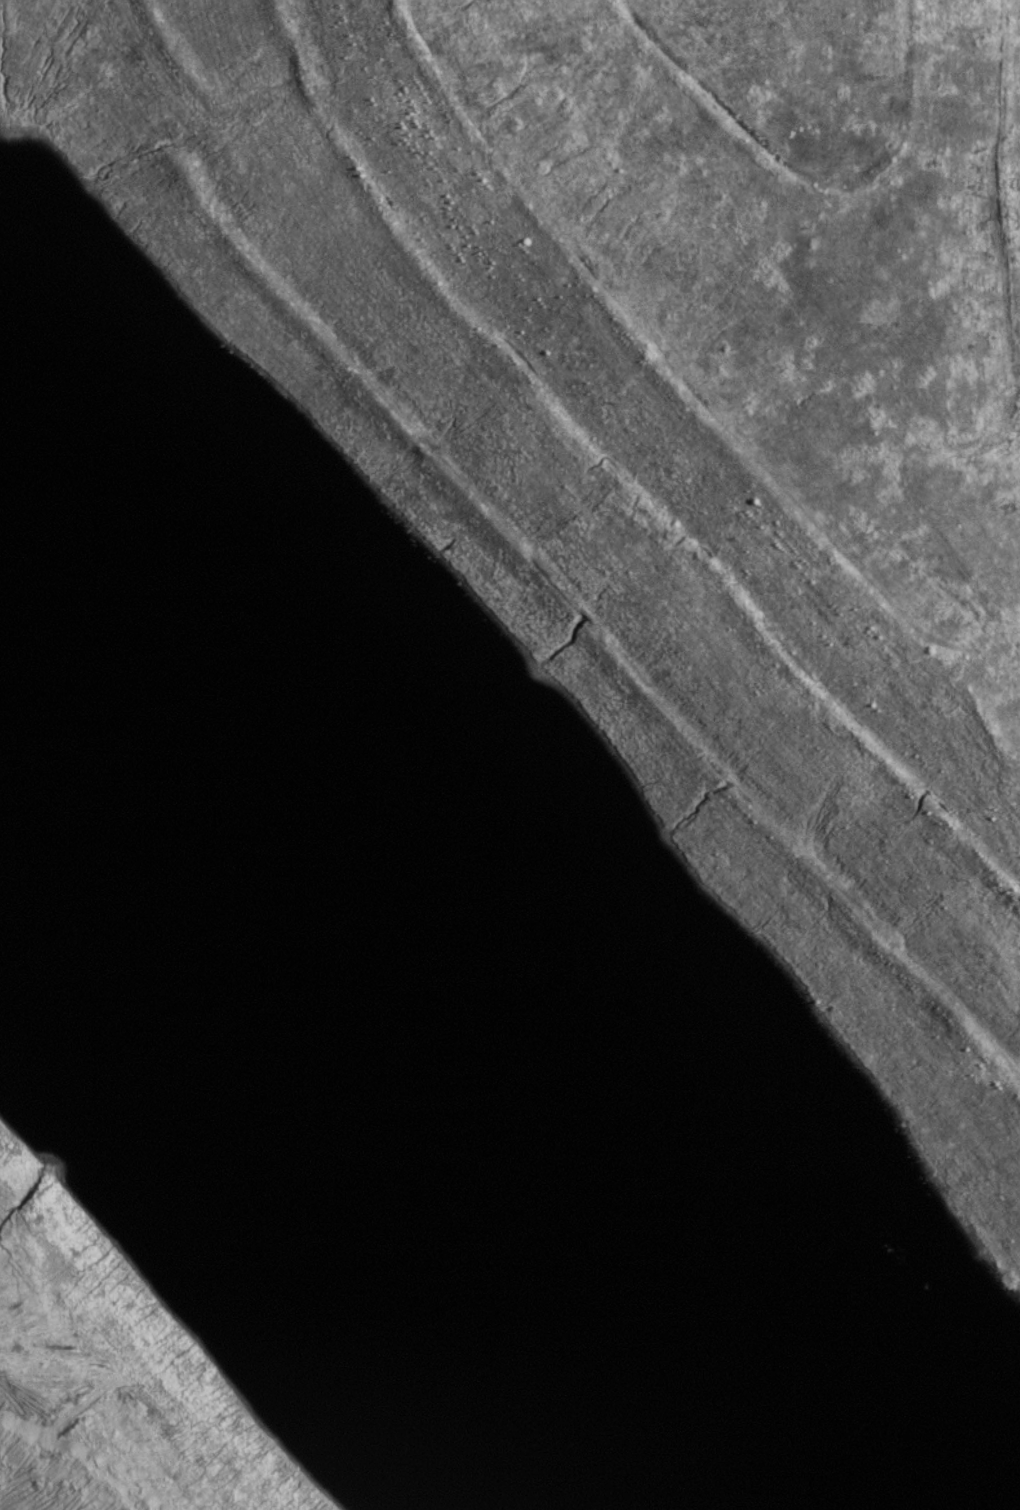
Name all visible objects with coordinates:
quarry: (510, 755)

